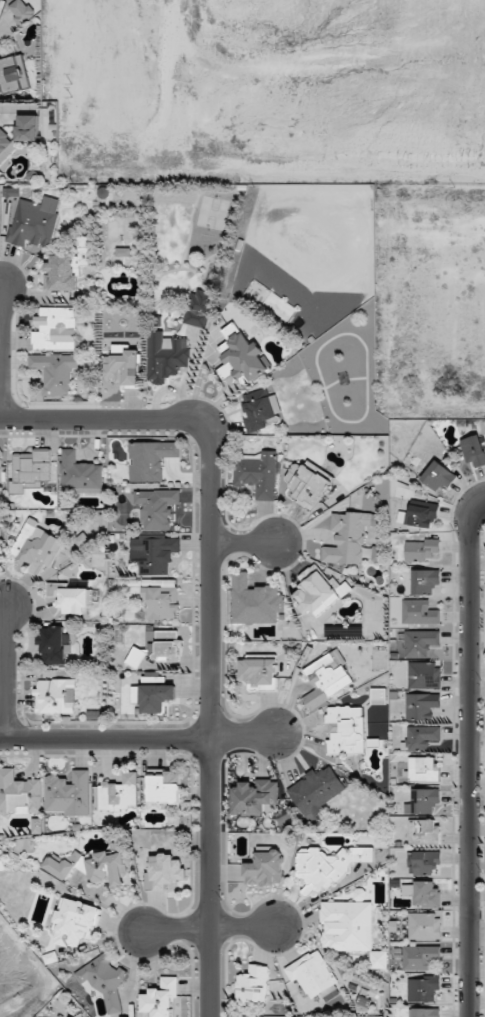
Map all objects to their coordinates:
building: (22, 13)
building: (13, 74)
building: (27, 127)
building: (5, 146)
building: (34, 222)
building: (123, 252)
building: (68, 267)
building: (198, 307)
building: (55, 329)
building: (119, 349)
road: (2, 354)
building: (243, 354)
building: (166, 356)
building: (123, 368)
building: (56, 371)
building: (261, 410)
building: (473, 450)
building: (150, 459)
building: (1, 470)
building: (30, 470)
building: (257, 473)
building: (79, 474)
building: (438, 476)
building: (308, 483)
building: (157, 508)
building: (421, 513)
building: (348, 537)
road: (245, 542)
building: (36, 545)
building: (421, 550)
building: (153, 553)
building: (425, 581)
building: (318, 591)
building: (70, 597)
building: (161, 600)
building: (255, 601)
building: (419, 612)
road: (212, 616)
building: (420, 642)
building: (167, 643)
building: (54, 646)
building: (135, 657)
road: (6, 671)
building: (259, 673)
building: (424, 675)
building: (327, 679)
building: (55, 696)
building: (153, 696)
building: (421, 705)
building: (346, 730)
road: (137, 738)
building: (420, 738)
road: (472, 757)
building: (423, 769)
building: (164, 788)
building: (316, 791)
building: (19, 793)
building: (68, 793)
building: (119, 793)
building: (253, 797)
building: (423, 801)
building: (423, 831)
building: (424, 862)
building: (62, 865)
building: (108, 867)
building: (264, 869)
building: (165, 870)
building: (423, 893)
building: (360, 894)
building: (75, 922)
building: (347, 925)
road: (208, 926)
building: (424, 926)
building: (419, 957)
building: (312, 973)
building: (104, 981)
building: (253, 984)
building: (423, 988)
building: (329, 994)
building: (161, 998)

